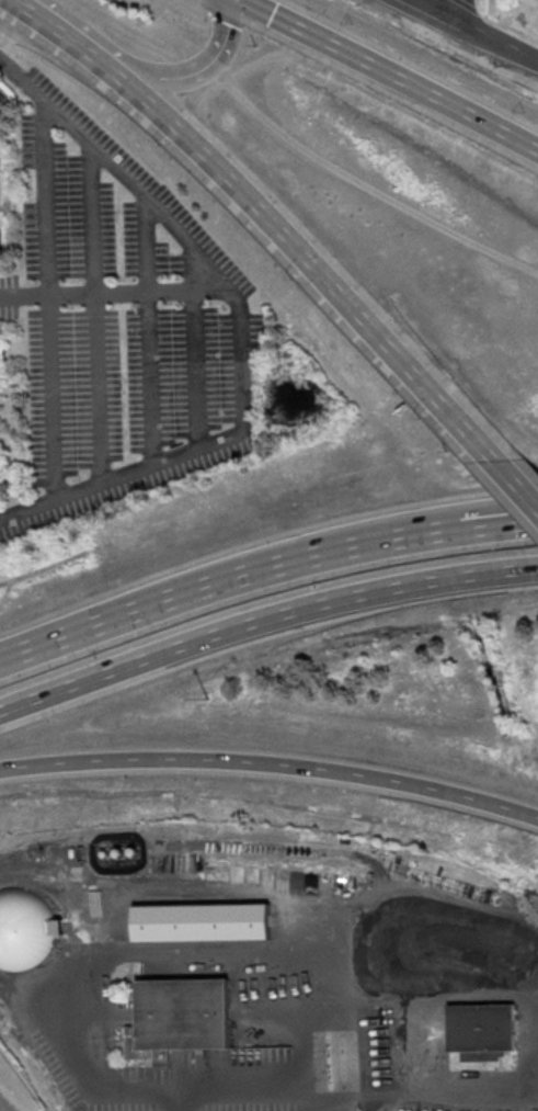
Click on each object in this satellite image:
road: (466, 5)
road: (487, 8)
road: (424, 10)
road: (448, 10)
road: (506, 26)
road: (61, 30)
road: (491, 42)
road: (193, 70)
road: (389, 73)
building: (0, 243)
road: (308, 253)
road: (46, 294)
road: (95, 315)
road: (149, 333)
road: (197, 371)
road: (242, 422)
road: (517, 479)
road: (26, 508)
road: (263, 568)
road: (263, 619)
road: (271, 764)
building: (202, 920)
building: (25, 931)
building: (183, 1011)
building: (483, 1029)
road: (234, 1095)
road: (179, 1102)

